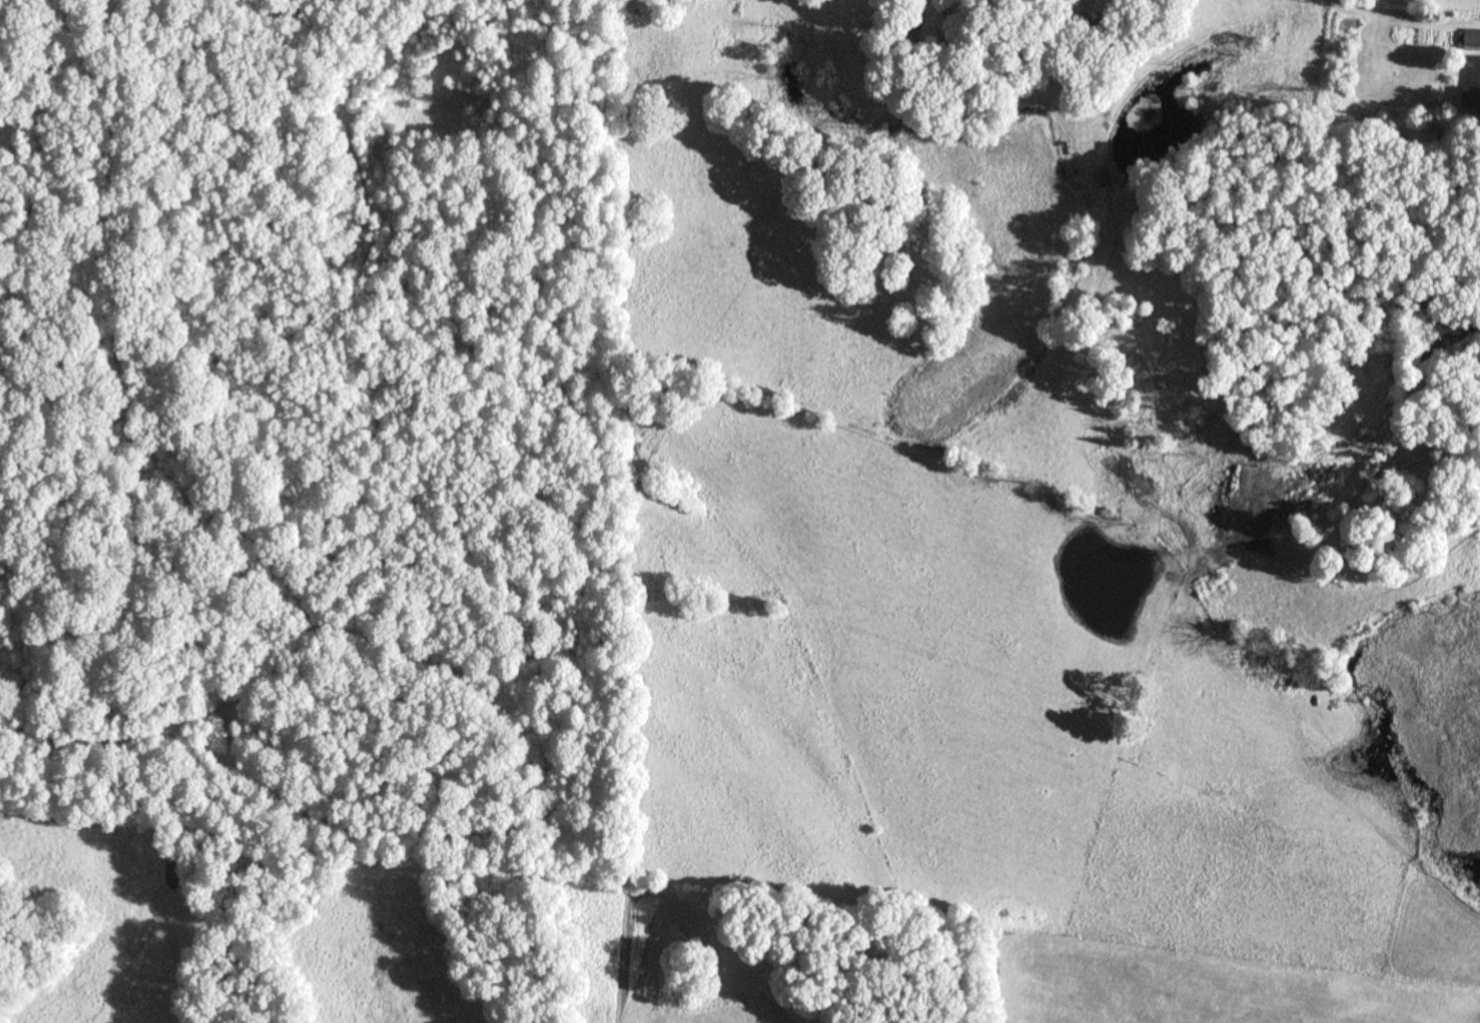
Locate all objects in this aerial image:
building: (1470, 40)
building: (1473, 79)

